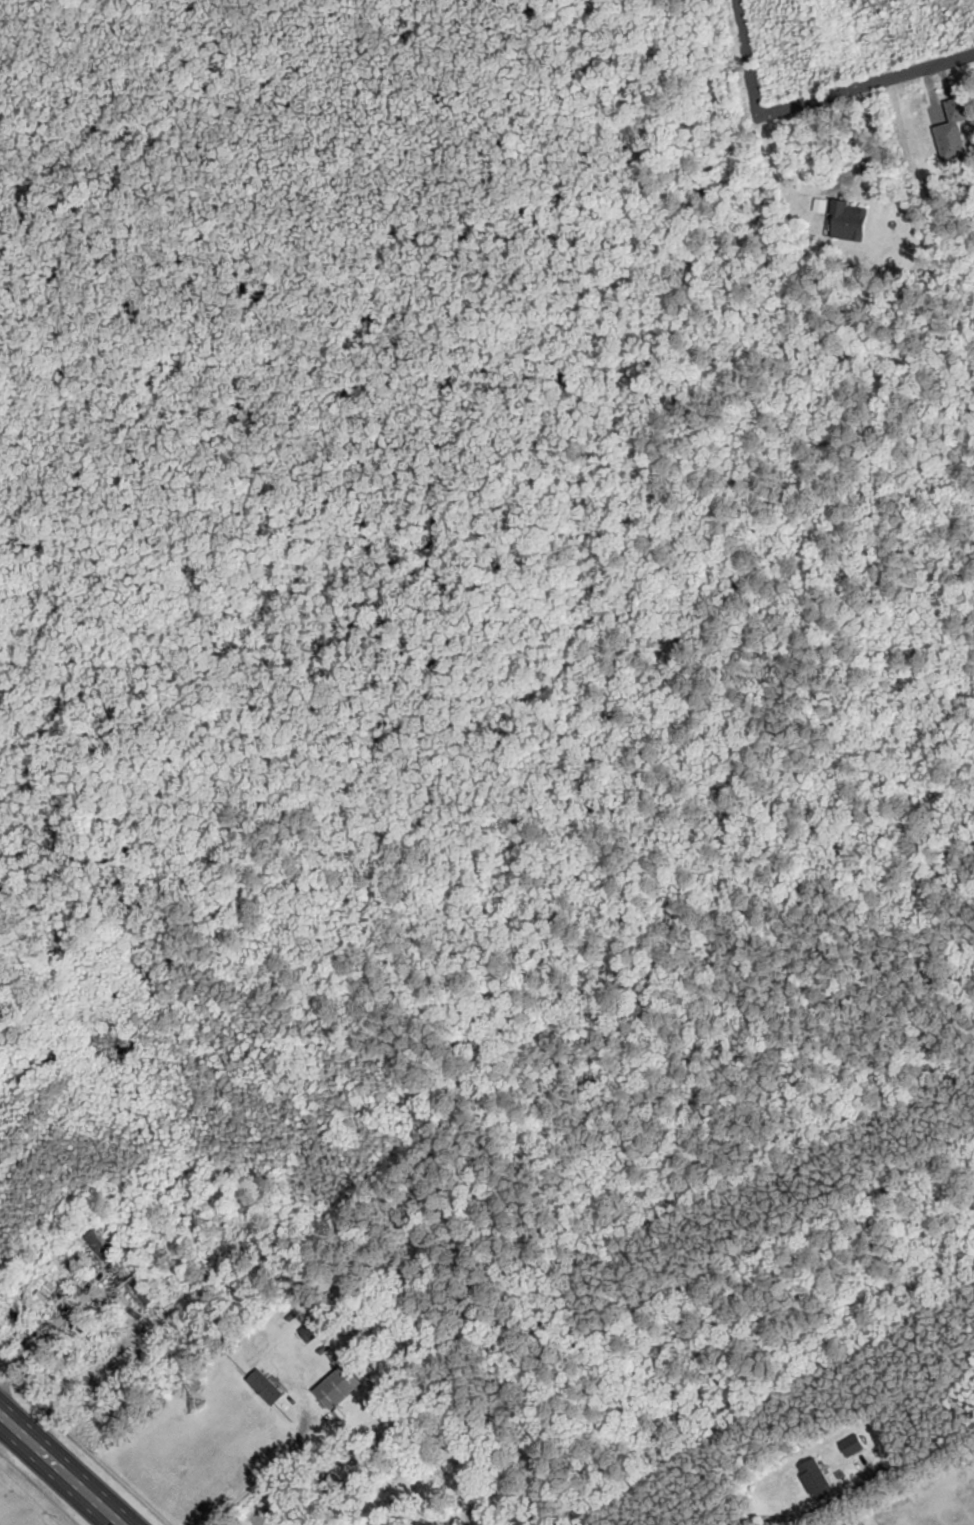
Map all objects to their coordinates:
building: (852, 220)
building: (104, 1243)
building: (146, 1288)
building: (313, 1330)
building: (267, 1387)
building: (341, 1387)
building: (854, 1445)
road: (62, 1468)
building: (819, 1480)

